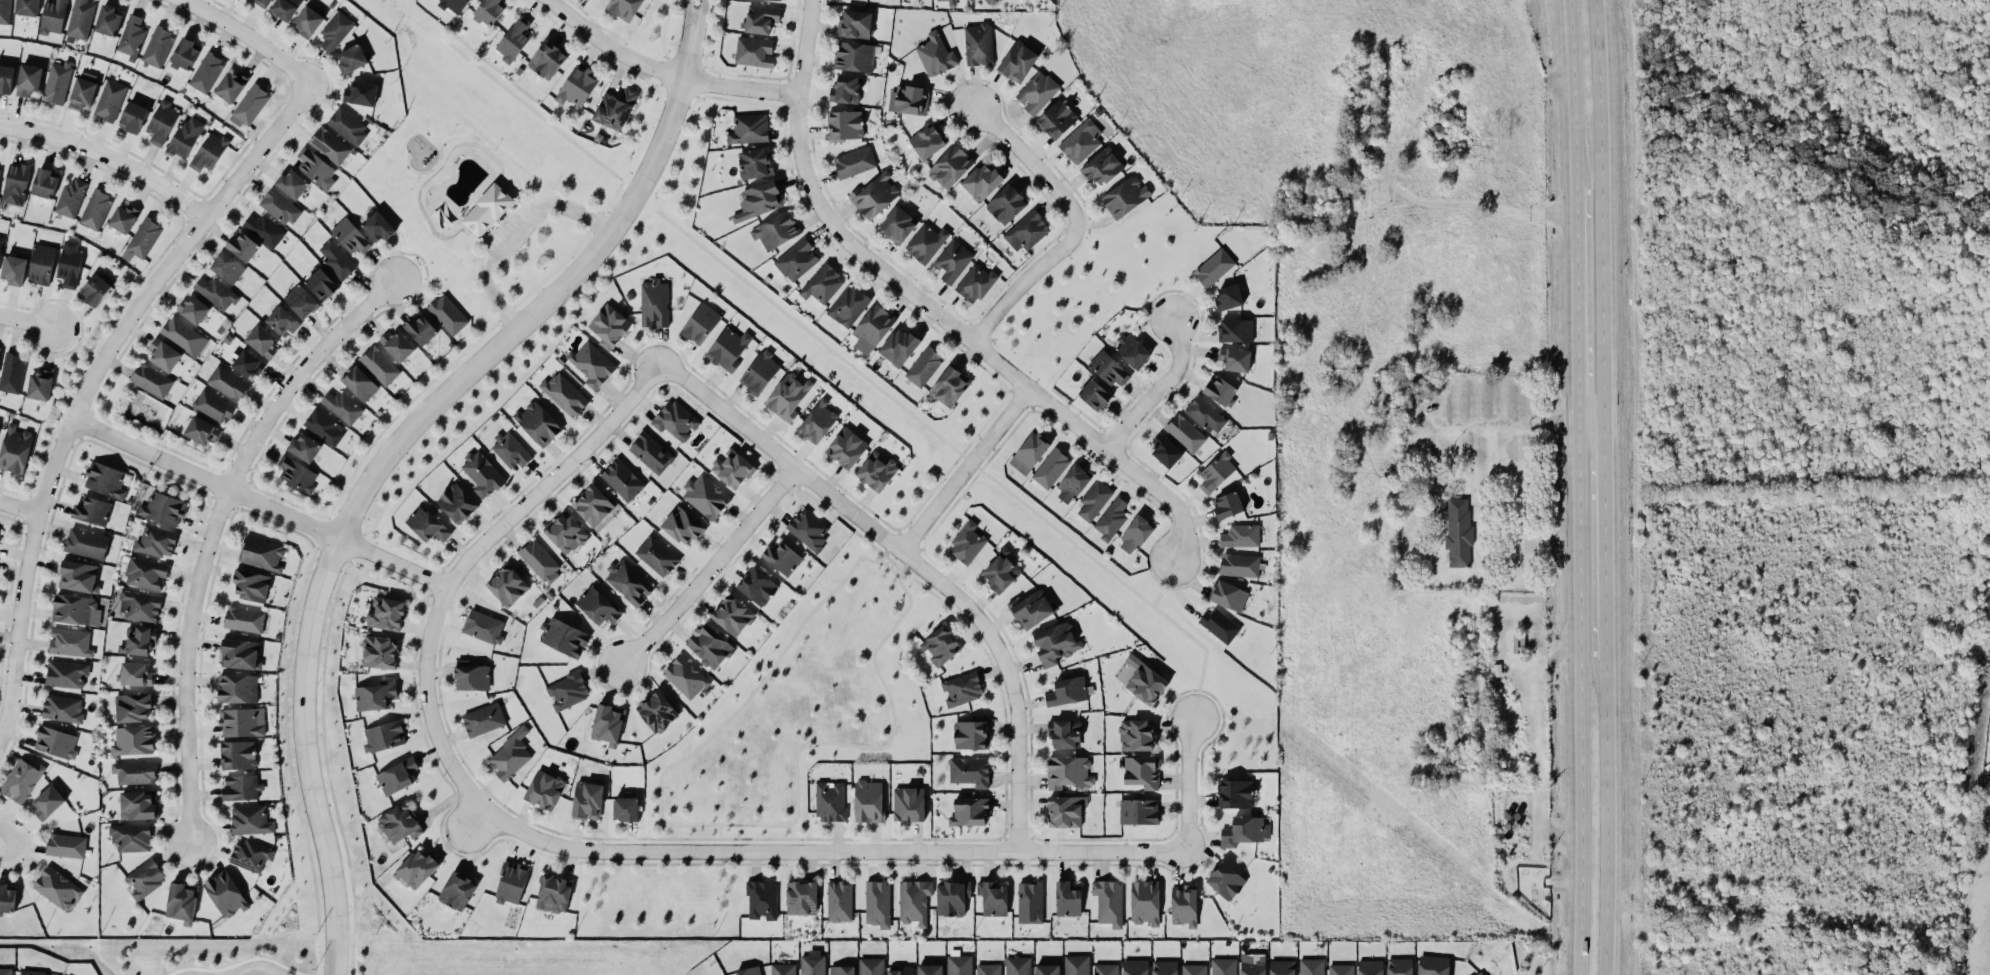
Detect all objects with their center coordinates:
building: (781, 0)
building: (262, 2)
building: (951, 2)
building: (990, 2)
building: (454, 5)
building: (27, 7)
building: (285, 8)
building: (624, 8)
building: (489, 10)
building: (4, 11)
building: (53, 16)
building: (80, 18)
building: (761, 18)
building: (108, 20)
building: (308, 21)
building: (854, 23)
building: (335, 31)
road: (246, 36)
building: (132, 37)
building: (514, 39)
road: (682, 39)
road: (694, 41)
building: (978, 44)
building: (158, 46)
building: (754, 51)
building: (938, 52)
building: (186, 53)
building: (854, 56)
building: (353, 58)
building: (547, 59)
building: (1018, 61)
building: (206, 72)
road: (660, 72)
building: (6, 78)
building: (28, 79)
building: (57, 81)
building: (231, 85)
building: (577, 85)
building: (845, 89)
road: (1572, 90)
building: (1037, 92)
building: (82, 93)
building: (360, 93)
building: (909, 99)
building: (109, 100)
building: (249, 105)
building: (615, 109)
building: (133, 117)
building: (1057, 118)
building: (161, 122)
building: (347, 125)
building: (845, 125)
building: (749, 129)
building: (185, 137)
building: (929, 139)
building: (1081, 141)
building: (329, 145)
building: (209, 152)
road: (107, 159)
building: (1355, 161)
building: (854, 162)
building: (754, 163)
building: (951, 166)
building: (1102, 166)
building: (316, 168)
building: (0, 169)
building: (981, 181)
building: (16, 182)
building: (45, 182)
building: (292, 183)
building: (877, 194)
building: (1125, 196)
building: (70, 198)
building: (759, 200)
road: (1598, 203)
building: (1006, 204)
building: (279, 206)
building: (95, 209)
building: (487, 209)
building: (123, 218)
building: (897, 224)
building: (377, 226)
road: (1069, 226)
building: (264, 229)
building: (775, 230)
building: (1026, 231)
road: (518, 234)
building: (350, 236)
building: (142, 239)
building: (926, 242)
building: (1, 244)
building: (243, 246)
building: (336, 260)
building: (797, 260)
building: (953, 260)
building: (41, 264)
building: (69, 266)
building: (227, 267)
building: (1214, 267)
building: (14, 269)
building: (321, 283)
building: (822, 283)
building: (975, 283)
building: (95, 289)
building: (216, 292)
road: (1575, 295)
building: (1229, 297)
building: (301, 300)
building: (654, 303)
building: (848, 305)
building: (193, 309)
road: (930, 311)
building: (448, 314)
road: (25, 320)
building: (281, 321)
building: (700, 323)
building: (609, 326)
building: (873, 326)
building: (421, 329)
road: (551, 329)
building: (1235, 330)
building: (181, 334)
building: (262, 341)
building: (397, 345)
building: (899, 346)
building: (728, 348)
building: (1132, 350)
building: (163, 354)
building: (1234, 359)
building: (247, 363)
building: (592, 364)
building: (379, 365)
building: (924, 366)
building: (1108, 368)
building: (12, 372)
building: (759, 373)
road: (89, 377)
building: (151, 380)
building: (227, 383)
building: (359, 383)
building: (40, 384)
building: (950, 386)
road: (1155, 388)
building: (1220, 390)
building: (564, 394)
building: (1094, 395)
building: (789, 396)
building: (212, 405)
building: (342, 406)
building: (1390, 408)
road: (1587, 408)
building: (1205, 414)
building: (676, 420)
building: (818, 421)
building: (537, 423)
road: (1469, 424)
building: (324, 426)
building: (201, 430)
building: (1185, 432)
building: (304, 447)
building: (846, 447)
building: (15, 449)
building: (510, 450)
road: (958, 450)
building: (1165, 450)
building: (651, 452)
building: (1029, 452)
building: (732, 468)
building: (1051, 468)
road: (962, 469)
building: (877, 470)
building: (1216, 472)
building: (297, 474)
building: (482, 474)
road: (367, 477)
building: (105, 479)
building: (622, 480)
building: (1072, 484)
building: (706, 496)
building: (1094, 500)
road: (256, 503)
building: (456, 503)
building: (1227, 505)
road: (18, 507)
building: (594, 507)
building: (163, 508)
building: (92, 511)
building: (1111, 519)
building: (427, 524)
building: (683, 525)
road: (212, 530)
building: (810, 530)
building: (1458, 532)
building: (566, 533)
building: (1135, 535)
road: (1600, 535)
building: (1241, 536)
building: (156, 541)
building: (86, 543)
building: (967, 543)
road: (885, 552)
building: (261, 553)
building: (657, 555)
building: (782, 557)
building: (540, 560)
road: (706, 565)
building: (1239, 565)
road: (904, 567)
road: (889, 568)
building: (1001, 570)
building: (146, 573)
building: (78, 576)
building: (628, 582)
building: (251, 584)
building: (507, 585)
building: (758, 586)
building: (1228, 595)
building: (139, 606)
building: (597, 606)
building: (1031, 609)
building: (75, 610)
building: (387, 614)
building: (733, 615)
building: (244, 619)
building: (1220, 625)
building: (484, 627)
building: (563, 637)
building: (139, 641)
building: (70, 642)
building: (1055, 643)
building: (940, 645)
building: (709, 646)
building: (380, 652)
building: (240, 654)
road: (424, 672)
building: (66, 674)
building: (136, 674)
building: (472, 676)
building: (685, 676)
road: (1007, 679)
building: (1144, 680)
building: (237, 688)
building: (962, 688)
building: (567, 690)
building: (1067, 691)
road: (1578, 692)
building: (376, 694)
building: (62, 708)
building: (134, 708)
building: (657, 711)
building: (483, 719)
building: (242, 722)
building: (608, 723)
building: (970, 734)
building: (1064, 734)
building: (1136, 735)
building: (383, 736)
building: (133, 740)
building: (55, 742)
building: (238, 754)
building: (510, 755)
building: (969, 771)
building: (1068, 771)
building: (1142, 771)
building: (134, 772)
building: (396, 776)
building: (21, 780)
building: (241, 788)
building: (544, 789)
building: (1235, 793)
building: (588, 799)
building: (47, 801)
building: (830, 801)
building: (868, 801)
building: (138, 804)
building: (908, 804)
building: (625, 808)
building: (1066, 810)
building: (969, 811)
building: (1138, 811)
building: (250, 819)
road: (1603, 819)
building: (399, 824)
building: (1246, 830)
building: (131, 836)
road: (720, 836)
road: (1, 841)
building: (66, 845)
road: (1167, 849)
building: (250, 855)
building: (416, 869)
building: (146, 879)
building: (1225, 880)
building: (511, 883)
building: (57, 887)
building: (457, 890)
building: (555, 892)
building: (226, 894)
building: (801, 897)
building: (7, 898)
building: (952, 898)
building: (993, 898)
building: (761, 899)
building: (1068, 899)
building: (839, 901)
building: (914, 901)
building: (181, 902)
building: (1030, 902)
building: (1109, 902)
building: (1145, 902)
building: (877, 903)
building: (1184, 904)
building: (812, 963)
building: (960, 965)
building: (1018, 965)
building: (1077, 965)
building: (1433, 965)
building: (871, 966)
building: (1223, 966)
building: (1311, 966)
building: (1399, 966)
building: (1135, 967)
building: (1164, 967)
building: (1252, 967)
building: (1282, 967)
building: (1370, 967)
building: (783, 969)
building: (929, 969)
building: (988, 969)
building: (1047, 969)
building: (1105, 969)
building: (1194, 969)
building: (1340, 969)
building: (753, 970)
building: (841, 970)
building: (900, 970)
building: (6, 971)
building: (32, 972)
building: (1480, 973)

